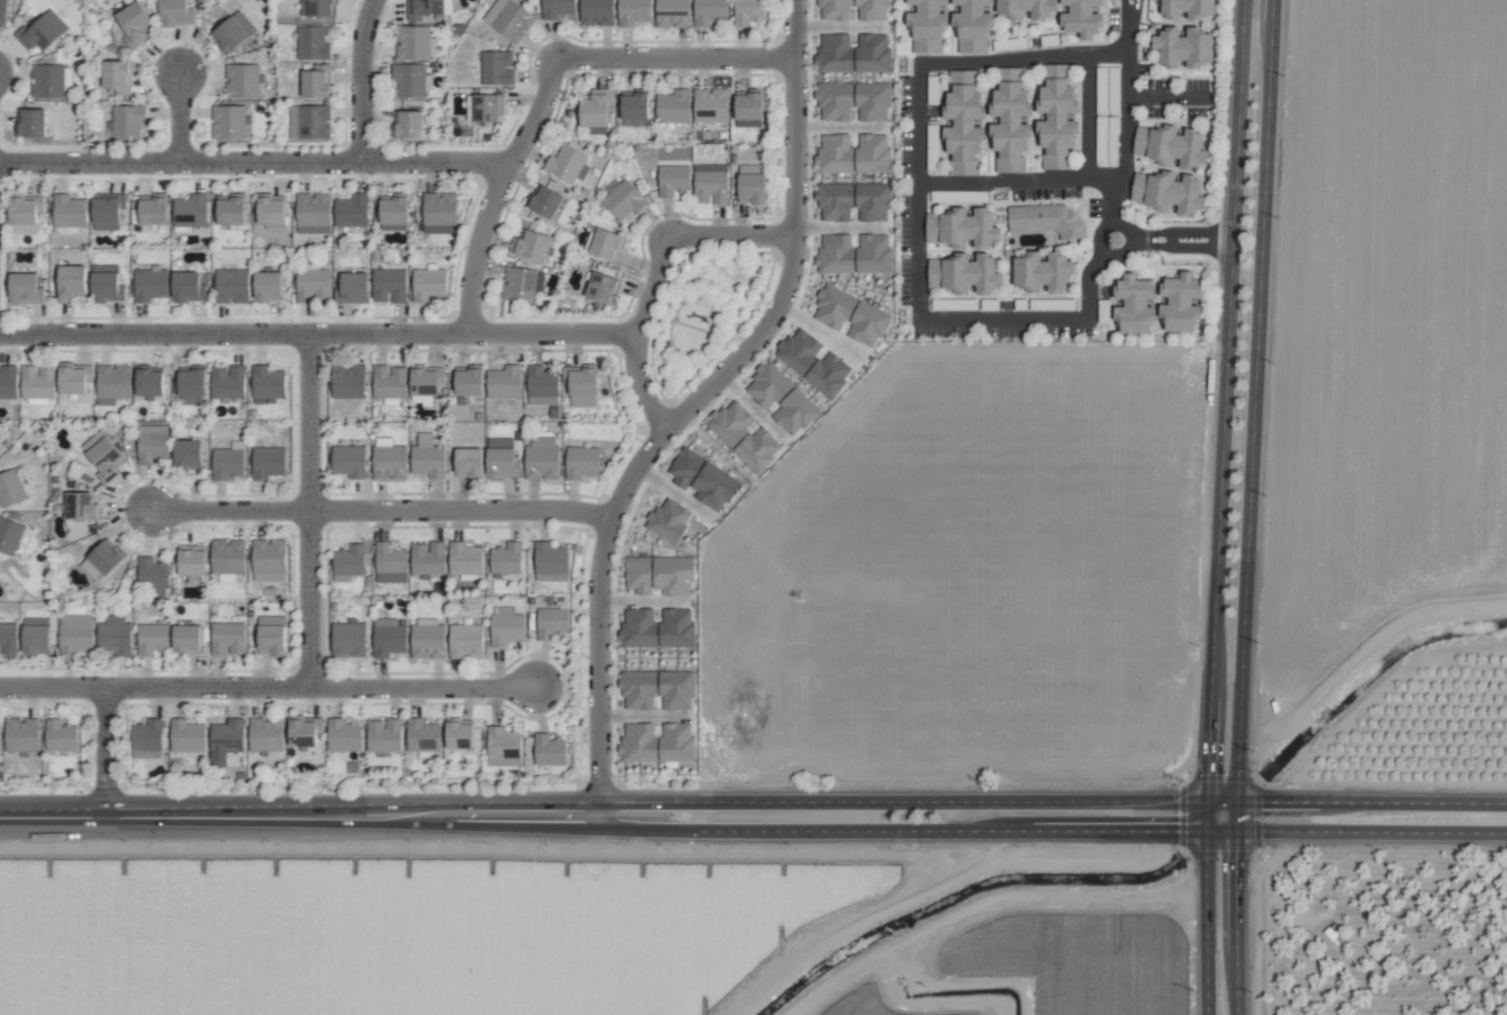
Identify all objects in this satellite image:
building: (318, 8)
building: (557, 8)
building: (1028, 8)
building: (424, 9)
building: (1188, 9)
building: (3, 12)
building: (596, 12)
building: (634, 12)
building: (709, 12)
building: (748, 12)
building: (176, 13)
building: (672, 13)
building: (873, 14)
building: (1082, 18)
building: (512, 22)
building: (133, 23)
building: (927, 25)
road: (1122, 25)
road: (1132, 25)
building: (973, 26)
building: (41, 31)
building: (232, 32)
building: (412, 43)
building: (312, 44)
building: (1184, 47)
building: (854, 54)
road: (676, 58)
building: (496, 68)
building: (115, 75)
road: (363, 79)
building: (410, 80)
building: (47, 81)
building: (242, 81)
building: (315, 83)
road: (1167, 96)
building: (854, 101)
building: (711, 105)
building: (673, 107)
building: (483, 108)
building: (596, 108)
building: (634, 108)
building: (749, 110)
building: (1058, 117)
road: (181, 118)
building: (1011, 121)
building: (127, 122)
building: (30, 123)
building: (229, 123)
building: (309, 123)
building: (964, 123)
building: (407, 124)
road: (920, 145)
building: (1171, 146)
building: (854, 154)
road: (253, 162)
building: (567, 164)
road: (1106, 177)
road: (1066, 179)
building: (673, 180)
building: (711, 184)
building: (751, 186)
road: (495, 191)
building: (1169, 192)
building: (624, 199)
road: (1111, 199)
building: (544, 201)
building: (854, 202)
building: (440, 209)
building: (69, 211)
building: (107, 211)
building: (153, 211)
building: (190, 211)
building: (231, 211)
building: (271, 211)
building: (351, 211)
building: (394, 211)
building: (312, 213)
building: (23, 215)
building: (1048, 220)
building: (963, 229)
road: (1182, 232)
road: (733, 237)
road: (1169, 238)
building: (605, 244)
road: (1182, 244)
building: (531, 246)
road: (1102, 248)
building: (855, 254)
building: (1043, 273)
building: (964, 274)
building: (70, 283)
building: (106, 284)
building: (150, 284)
building: (312, 284)
building: (389, 285)
building: (429, 285)
building: (521, 285)
building: (231, 286)
building: (189, 287)
building: (268, 287)
building: (354, 288)
building: (602, 288)
building: (25, 289)
building: (1181, 303)
building: (1135, 305)
park: (704, 310)
building: (851, 316)
road: (319, 334)
road: (638, 336)
road: (1228, 348)
building: (798, 351)
building: (829, 375)
building: (72, 381)
building: (8, 382)
building: (113, 382)
building: (227, 382)
building: (348, 382)
building: (37, 383)
building: (268, 383)
building: (389, 383)
building: (426, 383)
building: (469, 383)
building: (504, 383)
building: (149, 384)
building: (192, 386)
building: (542, 386)
building: (581, 387)
building: (782, 399)
road: (1254, 400)
road: (696, 404)
building: (744, 436)
building: (152, 444)
building: (187, 454)
building: (103, 457)
building: (428, 458)
building: (542, 459)
building: (501, 460)
building: (227, 461)
building: (349, 461)
building: (389, 462)
building: (268, 463)
building: (469, 463)
building: (582, 463)
building: (685, 467)
building: (714, 487)
building: (10, 489)
building: (80, 507)
road: (232, 511)
road: (311, 511)
road: (463, 512)
building: (669, 520)
building: (9, 536)
building: (227, 557)
building: (105, 558)
building: (507, 558)
building: (428, 559)
building: (465, 559)
building: (269, 561)
building: (350, 561)
building: (390, 563)
building: (551, 563)
building: (191, 565)
building: (638, 575)
building: (673, 576)
building: (152, 577)
road: (642, 601)
building: (551, 623)
building: (506, 627)
building: (658, 629)
building: (75, 634)
building: (271, 635)
building: (36, 636)
building: (114, 636)
building: (388, 638)
building: (8, 639)
building: (152, 639)
building: (186, 639)
building: (227, 639)
building: (349, 639)
building: (427, 642)
building: (466, 642)
crop: (990, 644)
road: (425, 687)
road: (156, 689)
building: (639, 690)
building: (676, 691)
building: (305, 732)
building: (22, 735)
building: (266, 735)
building: (60, 736)
building: (186, 736)
building: (344, 736)
building: (383, 736)
building: (423, 736)
building: (460, 737)
building: (147, 740)
building: (226, 741)
building: (658, 743)
building: (503, 748)
building: (549, 751)
road: (106, 753)
road: (1206, 763)
traffic signals: (1206, 771)
road: (924, 802)
road: (1220, 802)
traffic signals: (1264, 802)
road: (1276, 802)
road: (1412, 802)
road: (620, 809)
road: (299, 816)
road: (1235, 816)
road: (621, 823)
road: (671, 831)
road: (865, 831)
road: (1133, 831)
traffic signals: (1174, 831)
road: (1371, 831)
traffic signals: (1235, 861)
road: (1235, 891)
road: (1205, 923)
road: (1235, 983)

